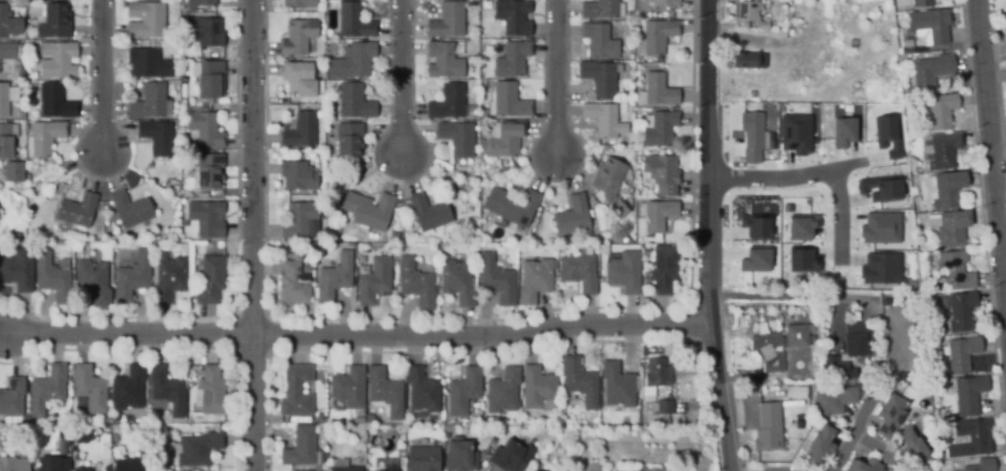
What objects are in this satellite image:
building: (664, 2)
building: (200, 3)
building: (298, 3)
building: (922, 3)
building: (598, 9)
building: (748, 12)
building: (512, 16)
building: (145, 19)
building: (353, 20)
building: (447, 20)
building: (54, 21)
building: (8, 22)
building: (1004, 23)
building: (929, 26)
building: (204, 31)
building: (658, 35)
building: (297, 36)
building: (599, 40)
building: (852, 43)
building: (7, 50)
building: (511, 58)
building: (56, 59)
building: (657, 59)
building: (443, 60)
building: (748, 60)
building: (146, 61)
building: (352, 61)
building: (930, 71)
road: (102, 76)
road: (401, 77)
building: (598, 77)
building: (208, 78)
building: (298, 78)
road: (555, 78)
building: (483, 86)
building: (658, 90)
building: (752, 93)
building: (6, 98)
building: (508, 100)
building: (54, 101)
building: (148, 101)
building: (353, 101)
building: (447, 102)
building: (938, 111)
building: (638, 112)
building: (602, 119)
building: (203, 129)
building: (659, 129)
building: (299, 130)
building: (844, 131)
building: (795, 134)
building: (887, 135)
building: (156, 136)
building: (751, 136)
building: (456, 137)
building: (6, 138)
building: (42, 138)
building: (504, 138)
building: (348, 139)
building: (940, 150)
road: (990, 164)
building: (207, 169)
building: (12, 171)
building: (660, 174)
building: (297, 175)
road: (787, 177)
building: (607, 178)
building: (880, 188)
building: (947, 188)
building: (175, 190)
building: (38, 198)
building: (512, 204)
building: (130, 208)
building: (618, 208)
building: (77, 209)
building: (367, 209)
building: (428, 212)
building: (182, 214)
building: (658, 214)
building: (573, 216)
building: (204, 218)
building: (297, 218)
road: (841, 218)
building: (755, 226)
building: (801, 227)
building: (949, 227)
building: (311, 228)
building: (880, 228)
building: (99, 234)
building: (350, 234)
building: (34, 235)
road: (254, 235)
building: (394, 235)
road: (708, 236)
building: (755, 259)
building: (801, 259)
building: (663, 268)
building: (880, 268)
building: (18, 269)
building: (578, 271)
building: (623, 271)
building: (953, 271)
building: (131, 277)
building: (334, 277)
building: (52, 278)
building: (168, 279)
building: (209, 279)
building: (373, 280)
building: (496, 280)
building: (533, 280)
building: (92, 281)
building: (457, 281)
building: (415, 283)
building: (833, 283)
building: (292, 284)
building: (961, 310)
road: (356, 334)
building: (795, 335)
building: (854, 338)
building: (767, 348)
building: (960, 354)
building: (833, 367)
building: (657, 372)
building: (906, 375)
building: (861, 379)
building: (579, 381)
building: (616, 384)
building: (128, 387)
building: (348, 387)
building: (537, 387)
building: (46, 388)
building: (89, 388)
building: (166, 389)
building: (503, 390)
building: (295, 391)
building: (384, 391)
building: (463, 391)
building: (795, 391)
building: (209, 392)
building: (421, 392)
building: (968, 394)
building: (11, 397)
building: (831, 398)
building: (663, 407)
building: (890, 415)
building: (370, 420)
building: (644, 422)
building: (768, 426)
road: (854, 436)
building: (114, 437)
building: (970, 438)
building: (820, 443)
building: (299, 446)
building: (195, 448)
building: (913, 448)
building: (62, 450)
road: (880, 451)
building: (459, 455)
building: (508, 457)
building: (422, 458)
building: (13, 464)
building: (51, 464)
building: (127, 465)
building: (863, 465)
building: (981, 465)
building: (344, 468)
building: (81, 469)
building: (652, 469)
building: (381, 470)
building: (543, 470)
building: (547, 470)

